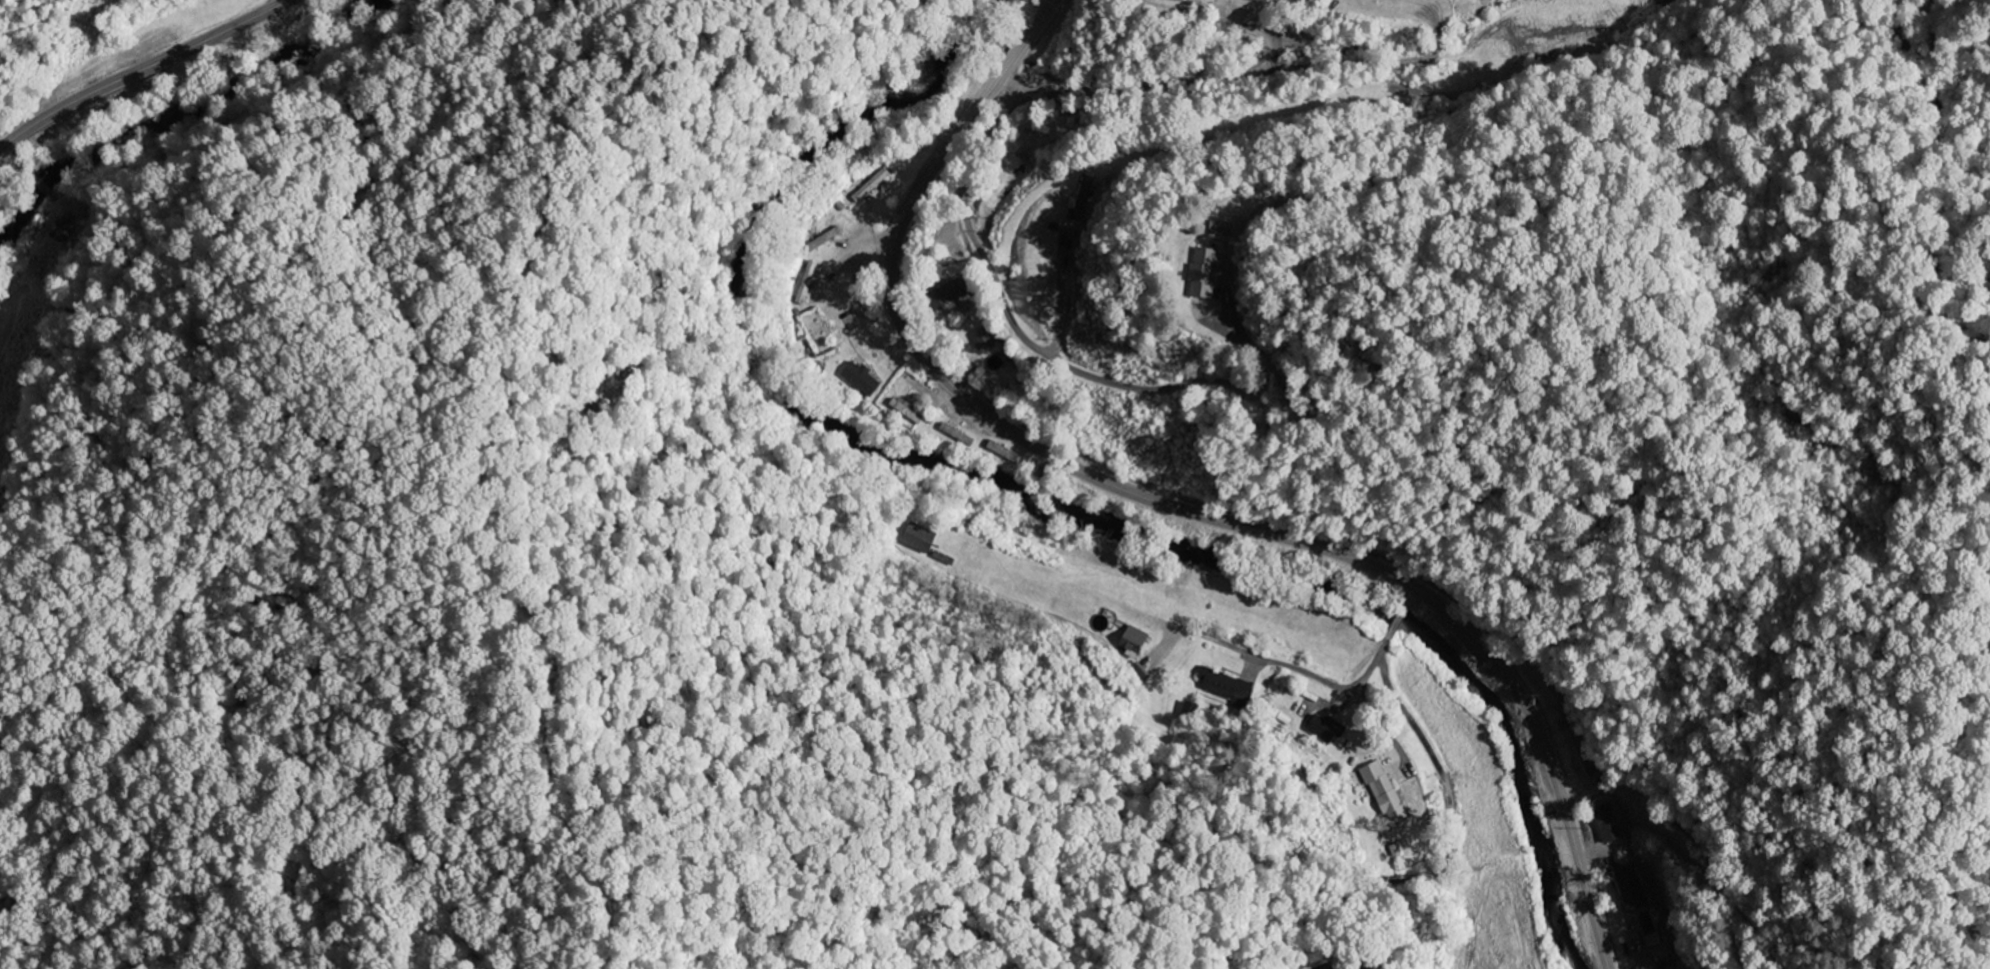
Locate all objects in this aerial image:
building: (1259, 0)
road: (140, 70)
road: (1011, 81)
road: (1150, 92)
building: (1080, 200)
building: (1219, 229)
building: (1202, 273)
building: (946, 294)
road: (1018, 327)
building: (982, 339)
building: (860, 379)
building: (906, 410)
road: (1168, 504)
building: (918, 538)
road: (1413, 597)
road: (1399, 619)
building: (1132, 642)
road: (1372, 667)
building: (1139, 673)
building: (1225, 687)
road: (1366, 707)
building: (1321, 729)
building: (1383, 793)
river: (1537, 847)
building: (1629, 889)
building: (1656, 948)
building: (1359, 967)

